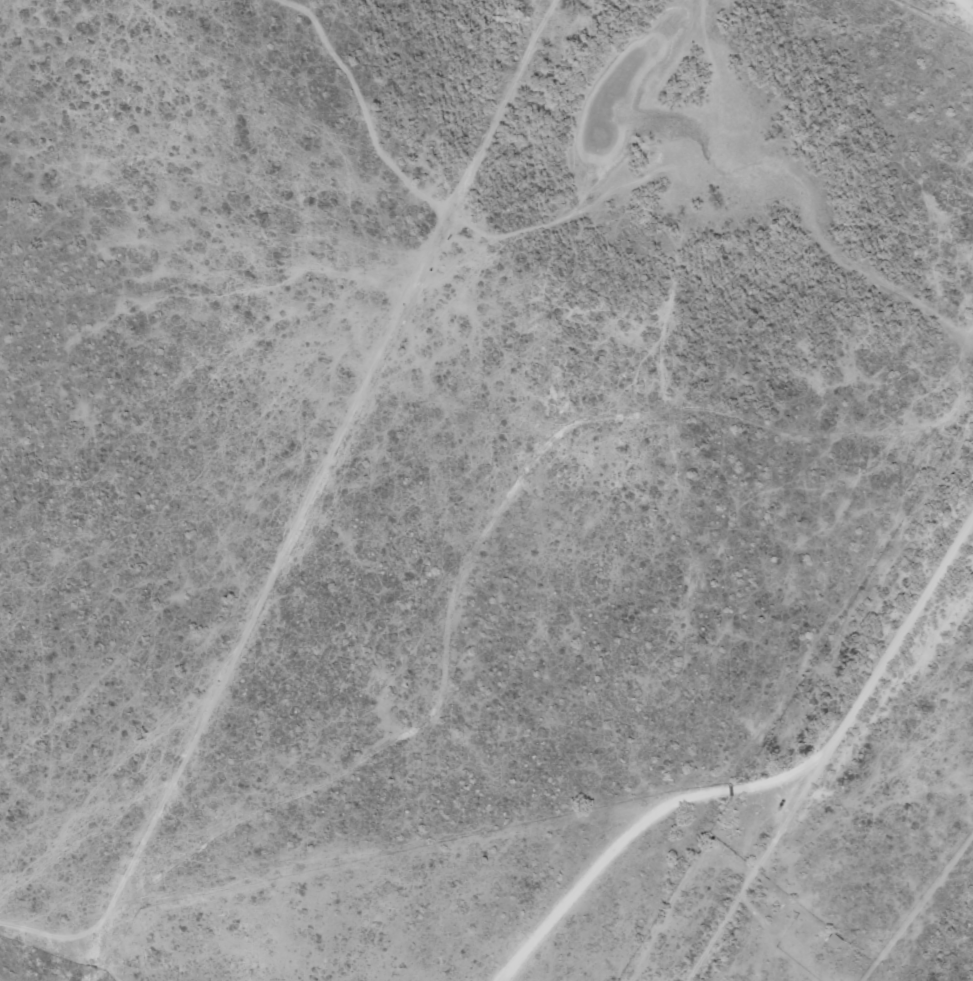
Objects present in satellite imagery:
road: (965, 6)
road: (314, 489)
railway: (845, 776)
road: (763, 780)

